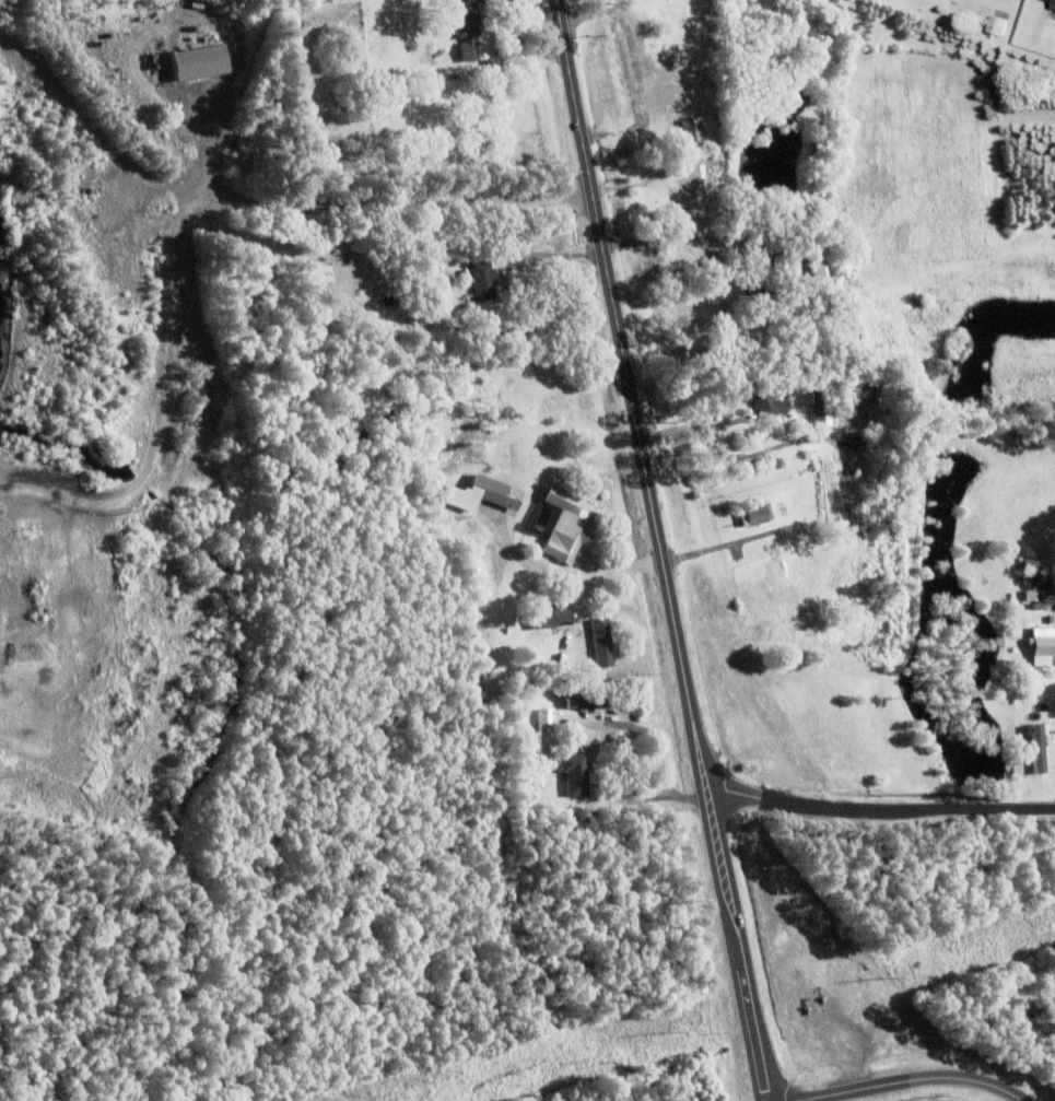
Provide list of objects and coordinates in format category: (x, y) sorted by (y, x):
building: (1053, 4)
building: (466, 19)
building: (671, 22)
building: (997, 26)
building: (208, 38)
building: (197, 62)
building: (613, 68)
building: (692, 131)
building: (702, 181)
building: (820, 190)
building: (857, 216)
building: (400, 230)
road: (667, 239)
building: (814, 247)
building: (798, 250)
building: (761, 267)
building: (482, 281)
building: (757, 325)
building: (847, 389)
building: (871, 389)
building: (769, 398)
building: (819, 399)
building: (821, 418)
building: (865, 446)
road: (738, 457)
building: (494, 494)
building: (757, 515)
building: (566, 526)
road: (661, 551)
building: (1032, 566)
building: (1028, 596)
building: (1039, 608)
building: (549, 617)
building: (601, 644)
building: (1042, 647)
building: (583, 674)
building: (576, 701)
building: (543, 733)
building: (1033, 748)
building: (574, 775)
building: (539, 781)
road: (880, 808)
road: (912, 1080)

